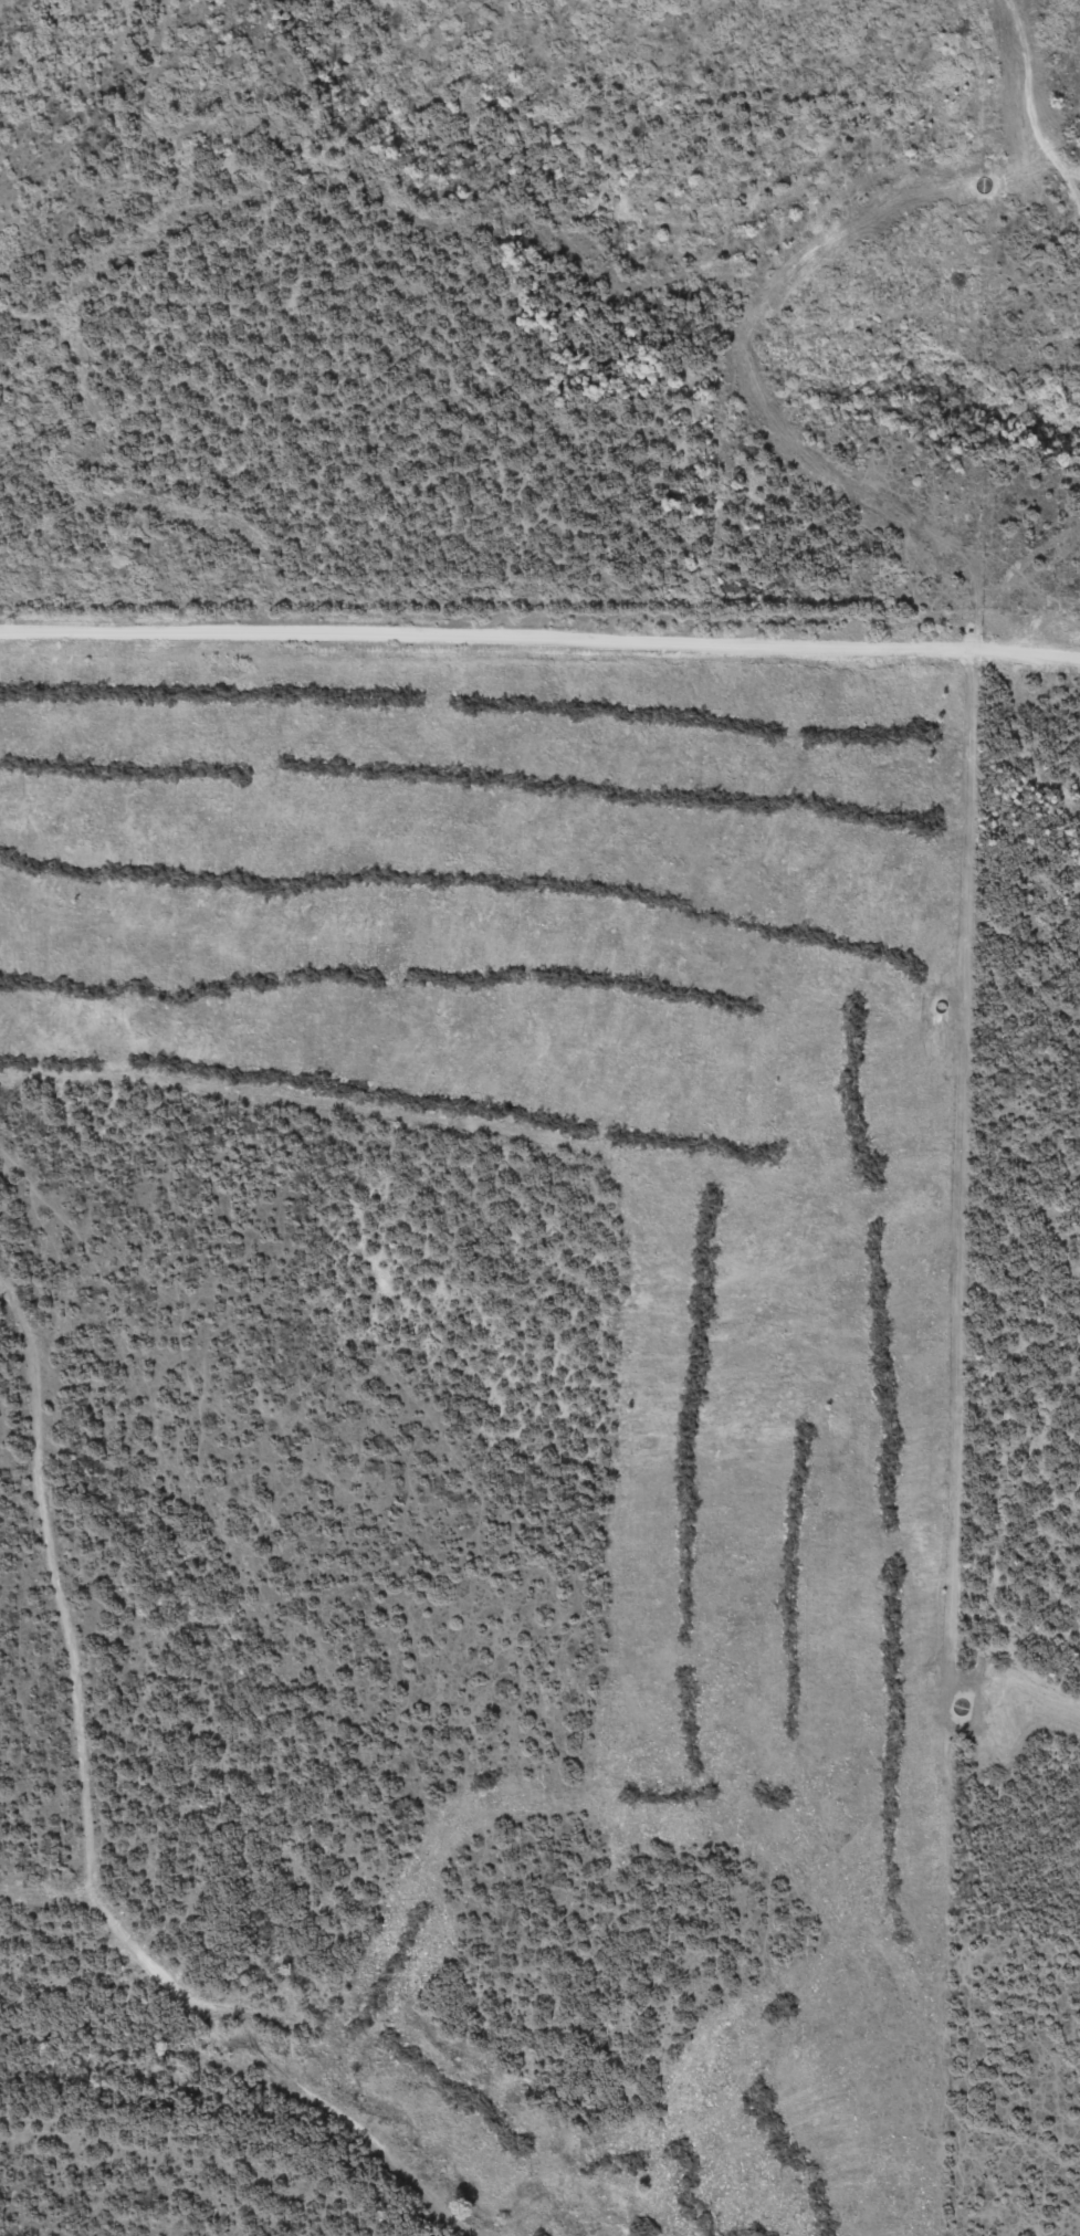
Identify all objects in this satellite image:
road: (1, 1)
road: (147, 1764)

